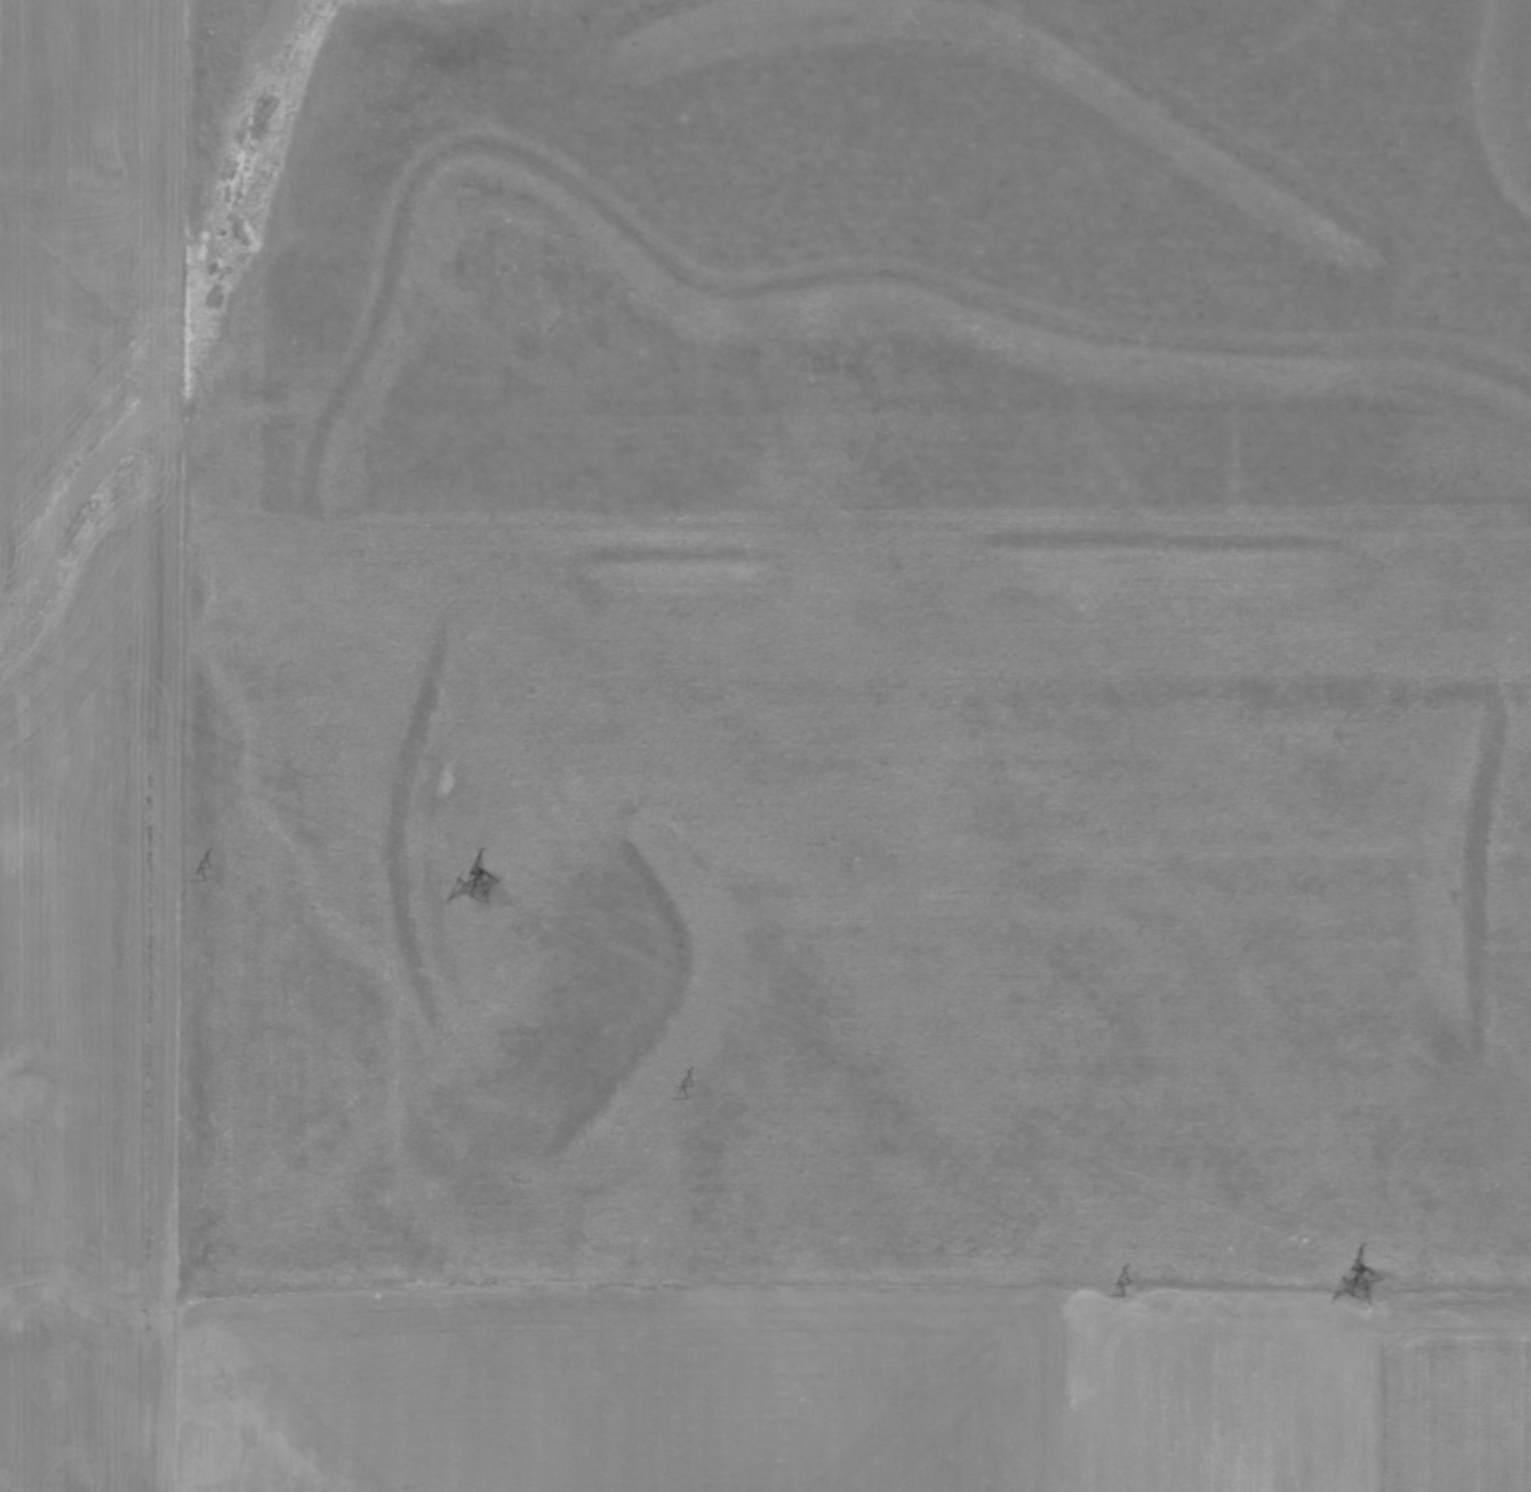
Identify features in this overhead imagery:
crop: (87, 646)
power tower: (205, 871)
power tower: (480, 882)
power tower: (688, 1089)
power tower: (1365, 1284)
power tower: (1130, 1286)

